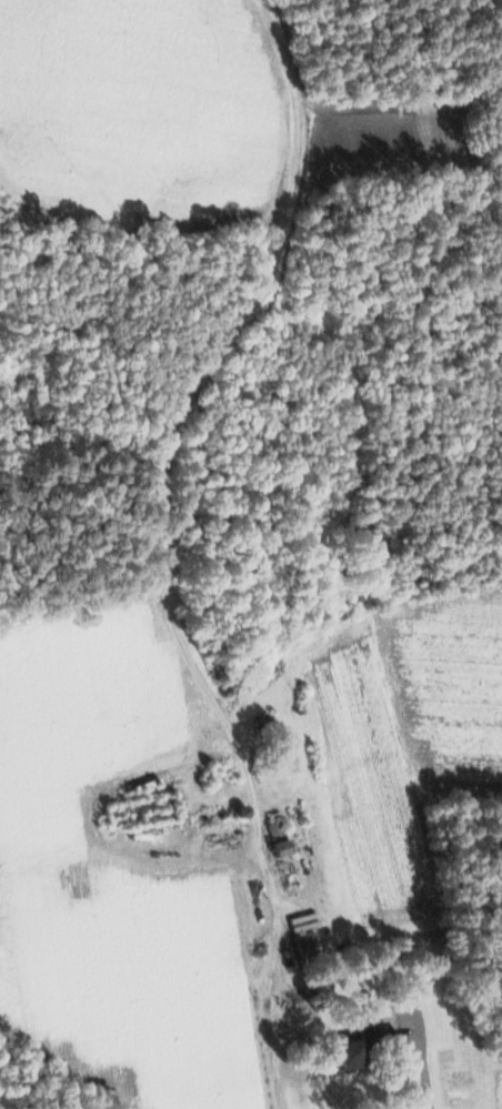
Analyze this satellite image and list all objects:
building: (275, 838)
building: (304, 947)
road: (277, 956)
building: (362, 1050)
road: (428, 1075)

